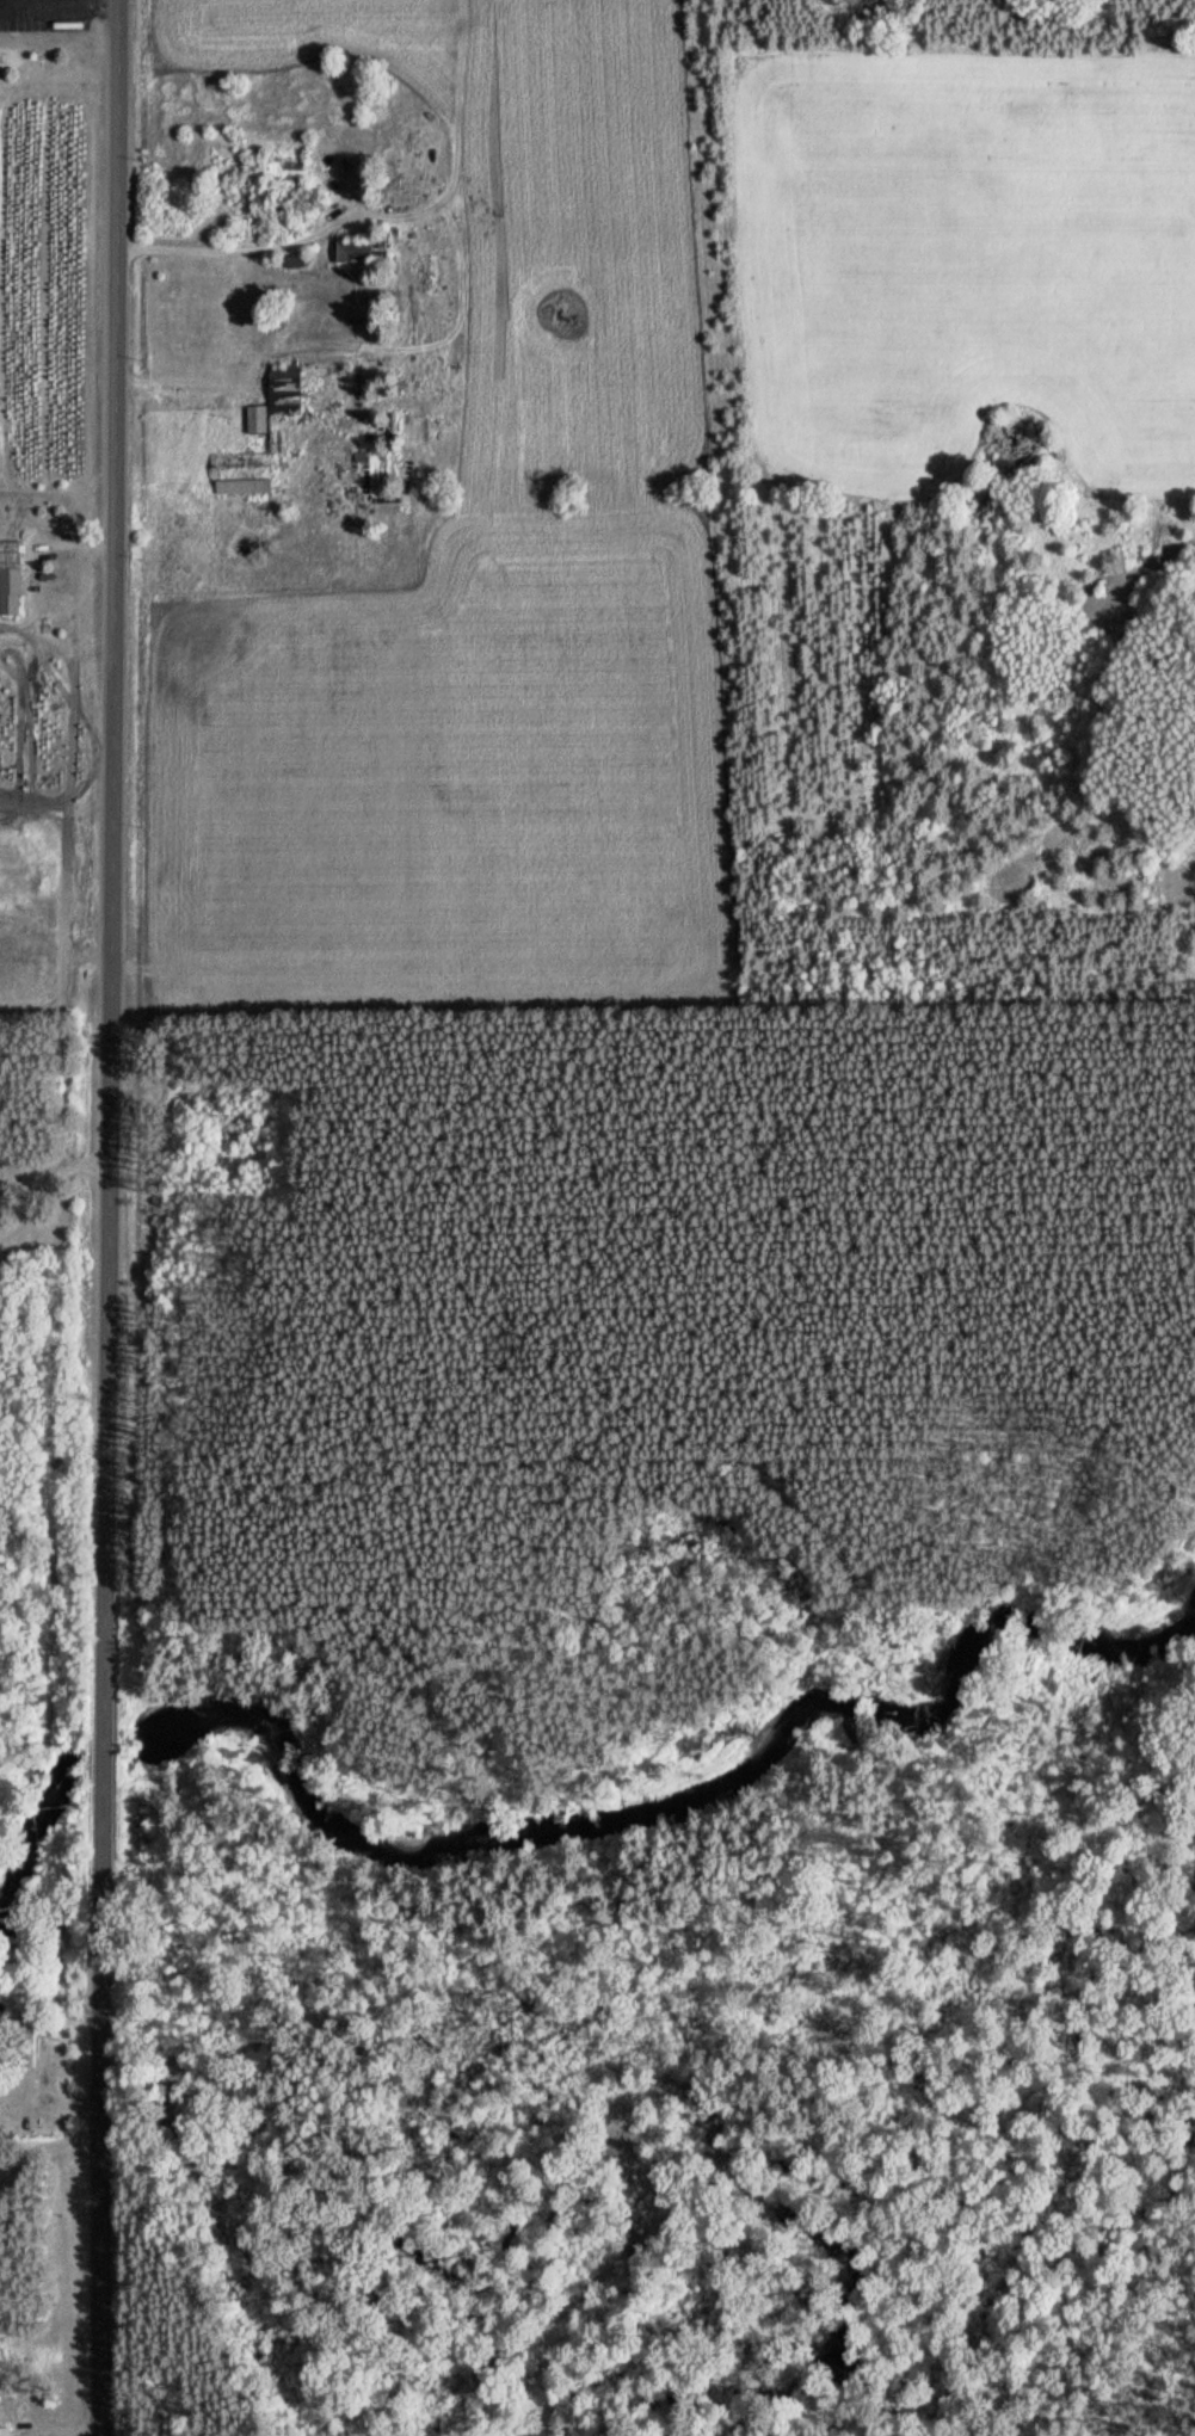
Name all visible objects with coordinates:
building: (292, 164)
building: (356, 252)
building: (276, 396)
building: (240, 473)
building: (10, 591)
road: (48, 1186)
road: (110, 1217)
river: (106, 1746)
river: (667, 1811)
river: (32, 1842)
building: (27, 2043)
road: (53, 2178)
building: (5, 2431)

